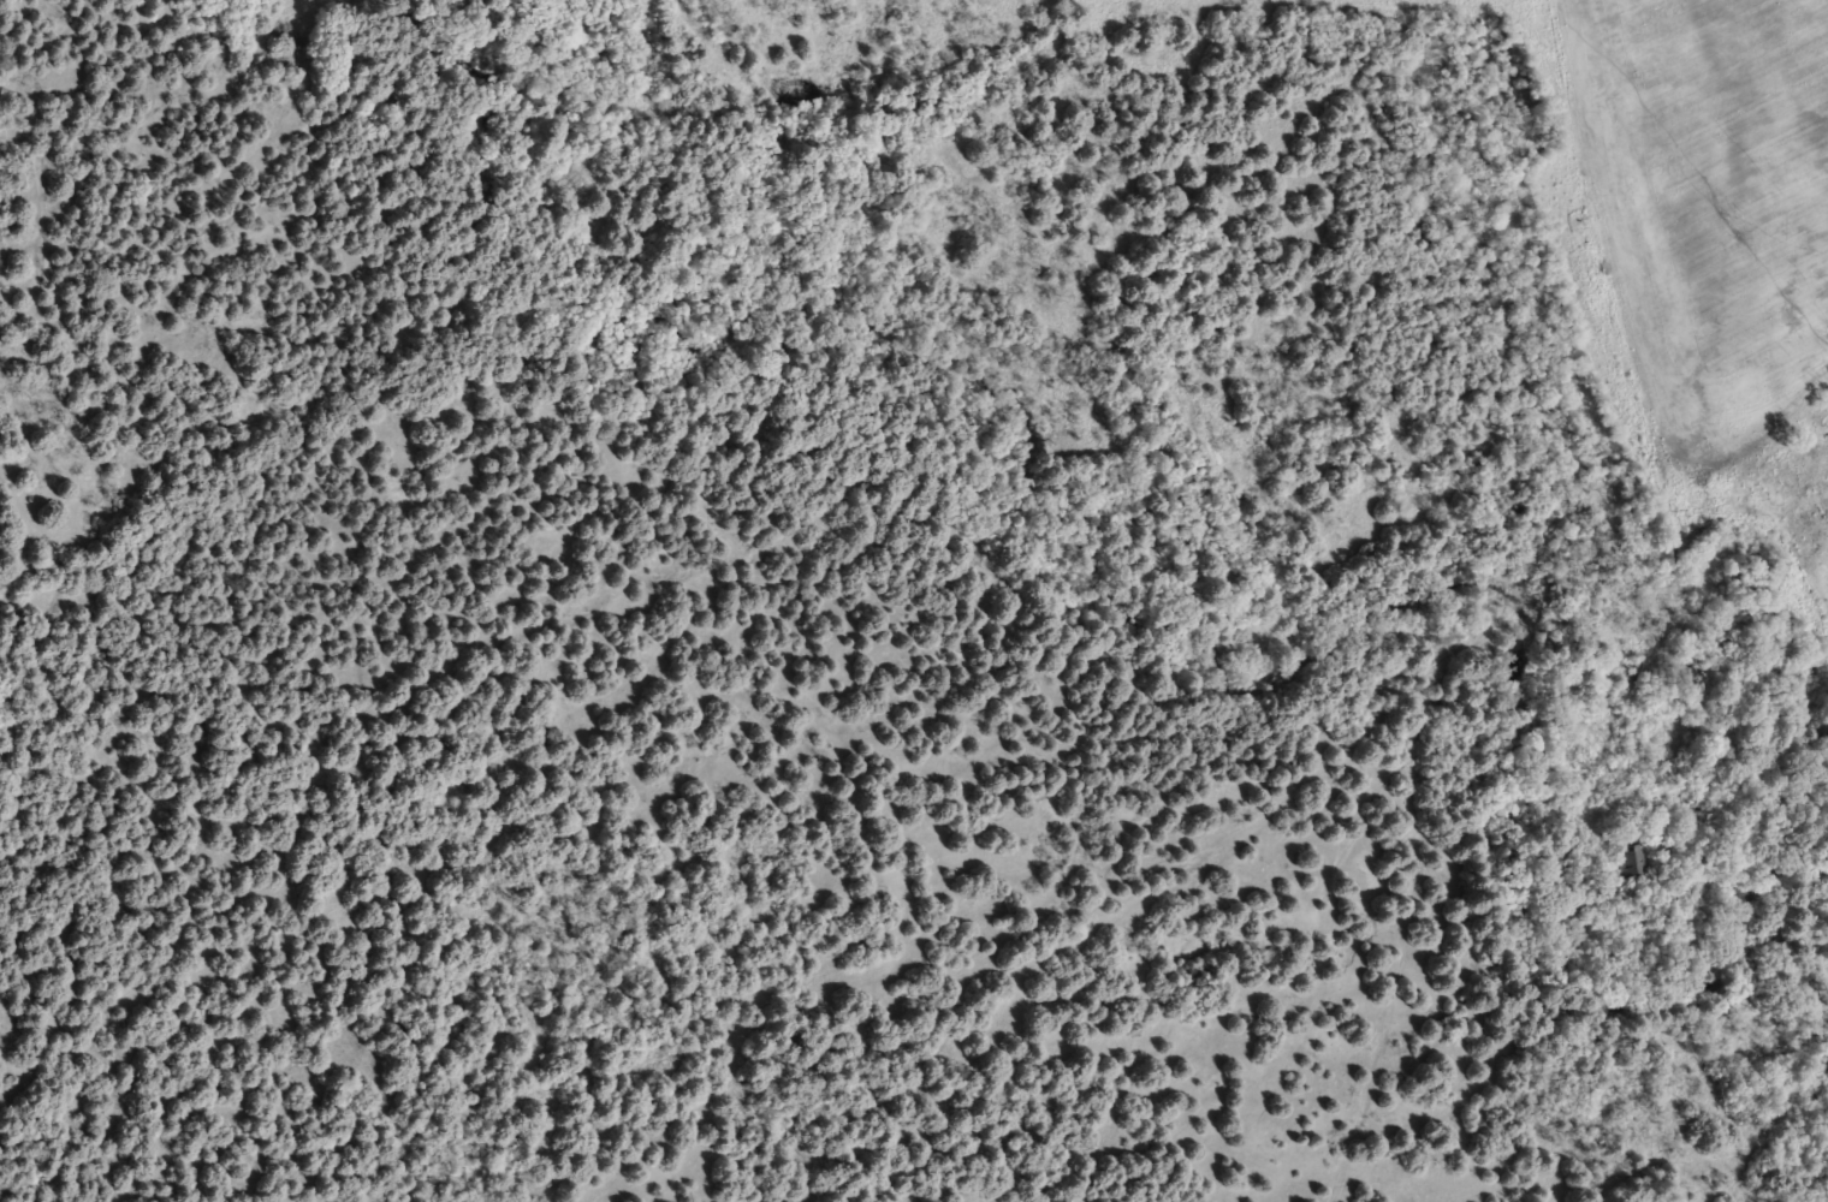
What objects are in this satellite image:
road: (1577, 266)
building: (1625, 858)

